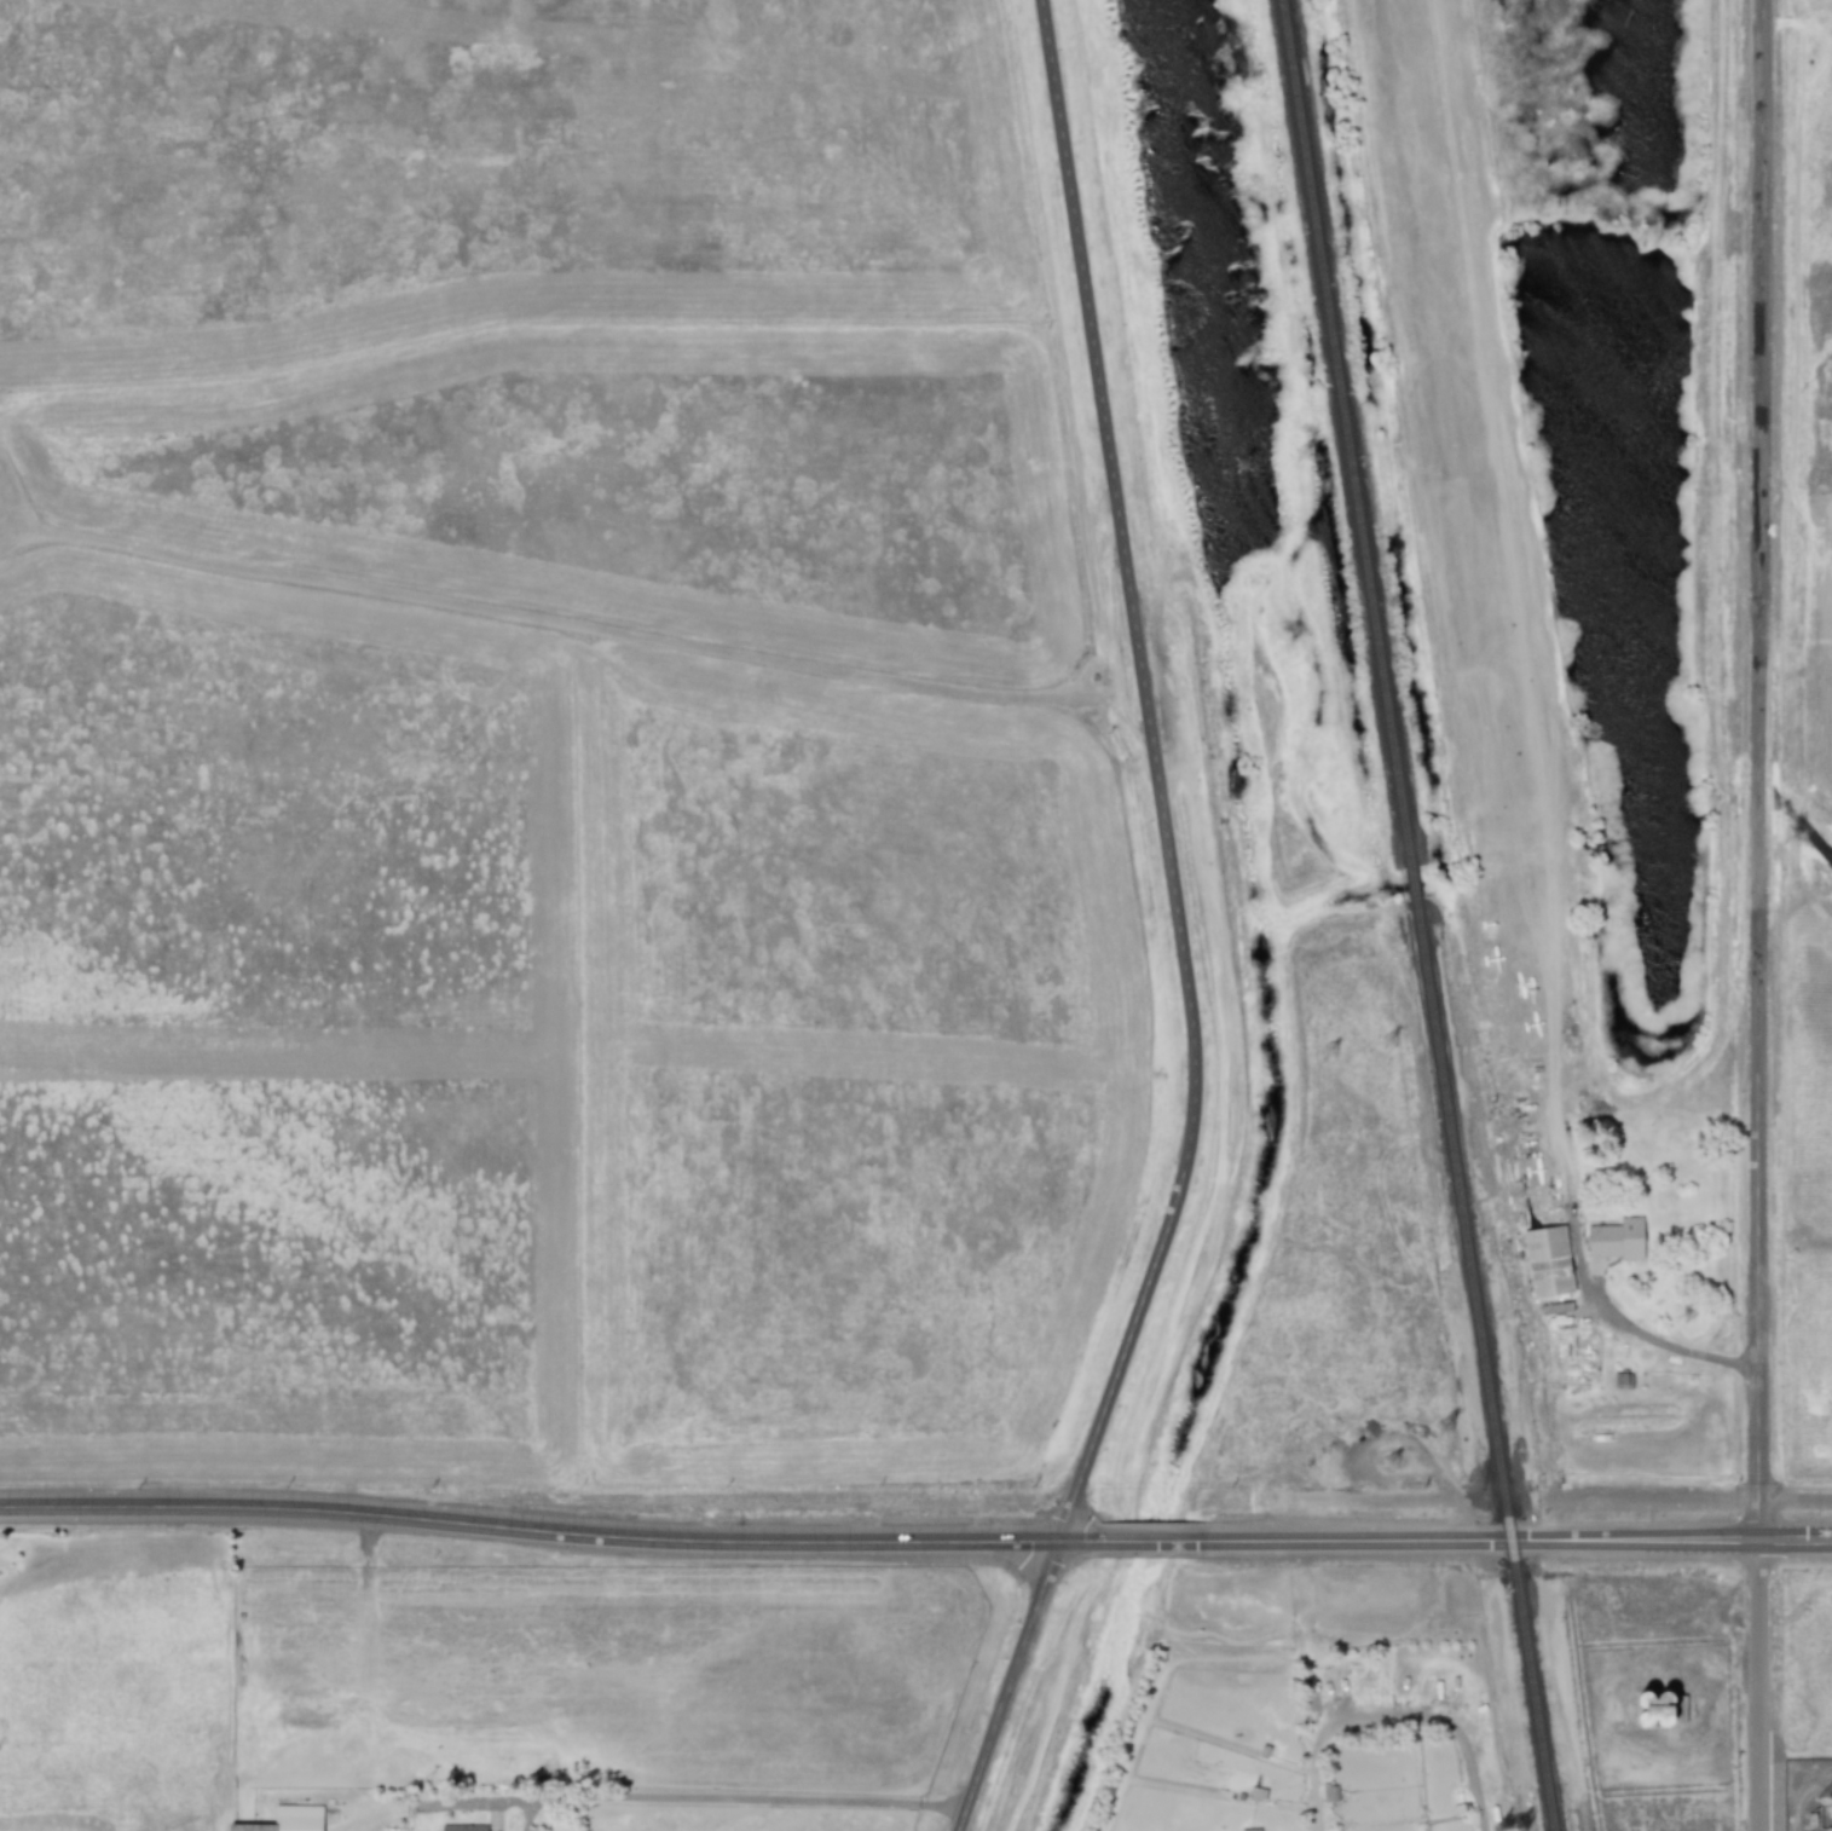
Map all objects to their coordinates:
railway: (1352, 435)
power tower: (1300, 457)
power tower: (1246, 466)
road: (1758, 770)
railway: (1420, 888)
road: (1177, 930)
power tower: (1389, 1039)
power tower: (1333, 1052)
building: (1614, 1238)
building: (1547, 1260)
road: (1660, 1342)
railway: (1490, 1368)
power tower: (1446, 1429)
power tower: (1392, 1465)
road: (1795, 1497)
road: (557, 1533)
road: (1520, 1542)
road: (1162, 1543)
road: (1757, 1686)
building: (1661, 1711)
road: (1391, 1725)
road: (726, 1797)
building: (287, 1819)
building: (463, 1827)

